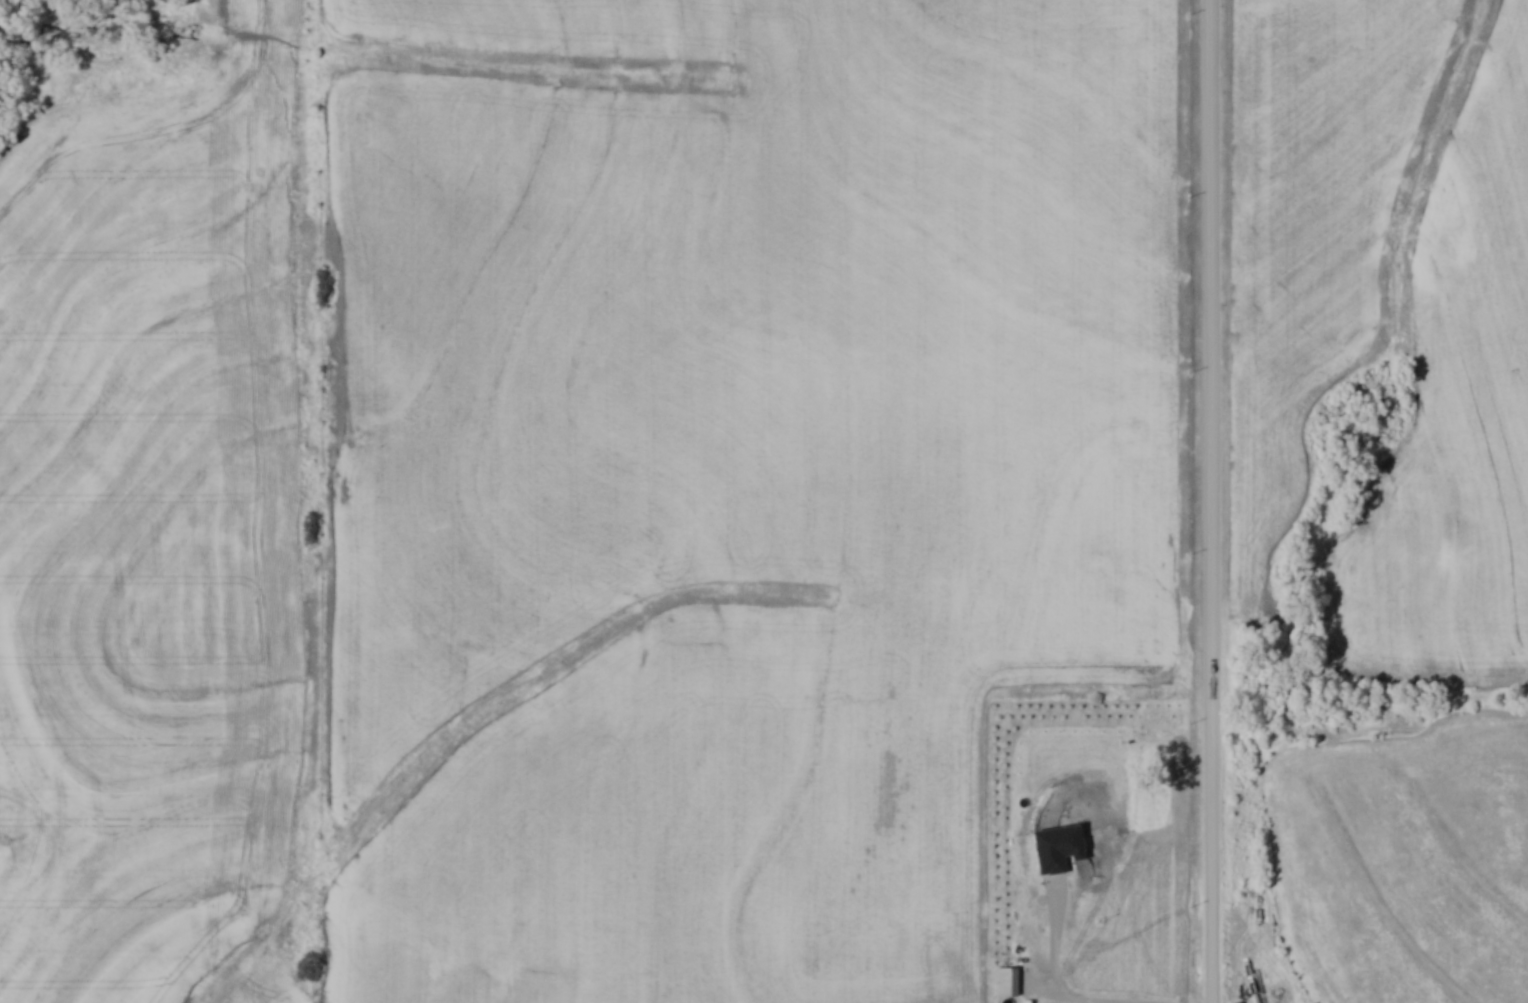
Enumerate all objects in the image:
road: (1215, 501)

